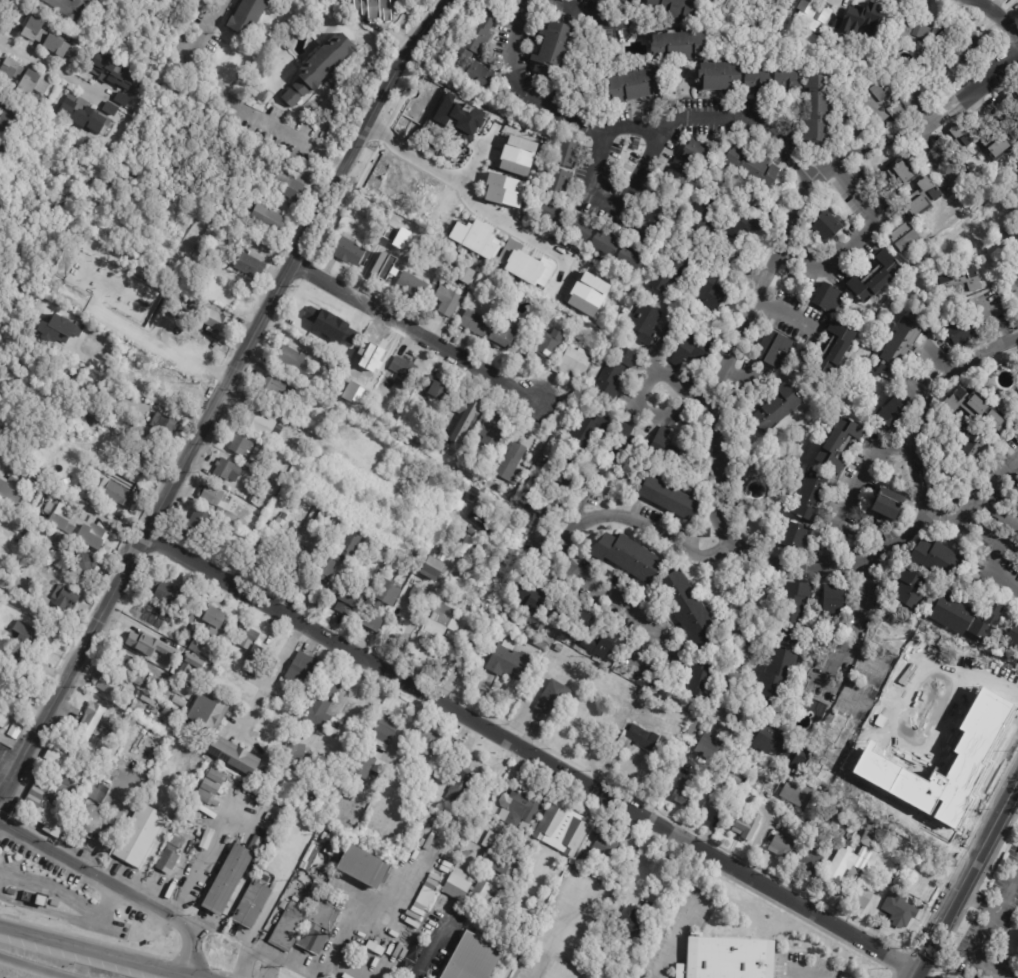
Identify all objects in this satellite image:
building: (343, 2)
building: (631, 2)
building: (68, 8)
building: (678, 8)
building: (377, 9)
road: (606, 10)
park: (762, 12)
road: (997, 14)
building: (248, 17)
building: (812, 17)
building: (860, 19)
building: (481, 33)
building: (911, 33)
building: (49, 36)
building: (846, 40)
building: (679, 47)
building: (555, 52)
building: (962, 57)
road: (48, 67)
building: (319, 69)
building: (473, 70)
building: (114, 74)
building: (22, 75)
building: (723, 78)
building: (760, 82)
building: (791, 83)
road: (524, 85)
building: (638, 87)
road: (210, 89)
building: (259, 94)
building: (121, 99)
building: (882, 104)
building: (1012, 107)
building: (109, 108)
building: (819, 111)
building: (82, 114)
building: (11, 116)
building: (458, 117)
building: (961, 137)
building: (636, 143)
building: (1, 144)
building: (1003, 150)
building: (697, 152)
building: (515, 155)
building: (569, 155)
building: (434, 156)
road: (477, 157)
road: (932, 157)
road: (646, 166)
building: (751, 168)
building: (898, 172)
building: (907, 172)
building: (680, 174)
building: (296, 180)
building: (560, 183)
road: (464, 188)
building: (504, 190)
building: (406, 193)
building: (925, 201)
building: (556, 215)
building: (269, 216)
building: (704, 216)
building: (748, 224)
building: (652, 225)
building: (827, 226)
building: (199, 228)
building: (582, 229)
building: (1014, 230)
building: (452, 231)
building: (400, 232)
road: (857, 235)
building: (417, 236)
building: (904, 237)
building: (608, 245)
road: (777, 246)
building: (258, 248)
building: (349, 253)
building: (634, 259)
building: (249, 264)
building: (524, 264)
building: (381, 270)
building: (670, 274)
building: (876, 279)
building: (962, 282)
building: (214, 287)
building: (412, 287)
building: (712, 295)
building: (829, 299)
building: (448, 302)
road: (784, 314)
building: (216, 319)
road: (994, 320)
building: (646, 324)
building: (475, 325)
building: (199, 326)
building: (311, 326)
building: (56, 329)
building: (338, 329)
road: (416, 331)
building: (961, 332)
building: (503, 339)
building: (548, 344)
building: (902, 346)
building: (693, 351)
building: (774, 351)
building: (832, 352)
building: (371, 354)
road: (938, 359)
building: (294, 365)
building: (574, 367)
building: (336, 368)
building: (403, 373)
building: (615, 375)
building: (182, 385)
road: (139, 388)
building: (276, 390)
building: (301, 391)
building: (436, 391)
road: (692, 394)
road: (218, 397)
building: (466, 409)
building: (777, 409)
building: (976, 410)
building: (893, 413)
building: (164, 423)
building: (262, 426)
building: (588, 431)
building: (491, 436)
building: (839, 442)
building: (971, 442)
building: (413, 443)
building: (240, 445)
building: (536, 449)
building: (626, 449)
building: (664, 452)
building: (105, 456)
building: (309, 458)
building: (144, 463)
building: (511, 464)
building: (228, 472)
building: (54, 476)
building: (283, 480)
building: (552, 484)
road: (987, 487)
building: (11, 488)
road: (853, 489)
building: (116, 493)
building: (212, 496)
building: (471, 496)
building: (812, 496)
building: (252, 500)
building: (668, 500)
building: (888, 502)
road: (76, 503)
road: (923, 506)
building: (748, 513)
road: (996, 515)
building: (227, 516)
building: (323, 518)
building: (282, 520)
building: (311, 521)
building: (481, 525)
building: (75, 526)
road: (970, 529)
building: (191, 531)
building: (707, 534)
building: (795, 536)
building: (59, 541)
building: (351, 547)
building: (467, 548)
building: (444, 557)
building: (628, 557)
building: (266, 558)
building: (940, 561)
building: (84, 563)
road: (565, 564)
building: (295, 571)
building: (327, 572)
building: (436, 573)
road: (1002, 578)
building: (909, 589)
building: (168, 594)
building: (413, 595)
building: (66, 598)
building: (832, 598)
building: (349, 601)
building: (428, 602)
building: (537, 602)
road: (46, 604)
building: (391, 609)
building: (690, 610)
building: (795, 611)
building: (147, 612)
building: (951, 613)
building: (190, 617)
building: (579, 620)
building: (215, 622)
building: (986, 623)
road: (407, 630)
building: (436, 630)
building: (133, 633)
building: (892, 633)
building: (245, 635)
road: (858, 635)
building: (593, 640)
building: (1010, 641)
building: (31, 644)
building: (147, 645)
building: (168, 645)
building: (540, 645)
building: (196, 646)
building: (559, 649)
building: (122, 662)
building: (191, 663)
building: (509, 663)
road: (868, 664)
road: (271, 672)
building: (305, 674)
building: (212, 675)
building: (700, 679)
building: (139, 681)
building: (778, 683)
building: (108, 685)
road: (835, 686)
building: (15, 689)
building: (183, 690)
building: (290, 697)
building: (554, 700)
building: (180, 701)
building: (323, 704)
building: (207, 713)
building: (944, 715)
building: (4, 719)
building: (966, 724)
building: (89, 725)
building: (385, 730)
building: (280, 732)
building: (128, 734)
building: (427, 740)
building: (639, 741)
building: (776, 741)
building: (56, 743)
building: (398, 743)
building: (707, 745)
building: (274, 746)
building: (836, 748)
road: (529, 751)
building: (233, 755)
building: (297, 755)
building: (802, 759)
building: (697, 764)
building: (397, 765)
building: (362, 766)
building: (109, 775)
building: (733, 776)
building: (433, 779)
building: (212, 781)
building: (301, 781)
building: (53, 788)
building: (469, 789)
building: (99, 792)
building: (682, 792)
building: (799, 794)
building: (204, 797)
building: (522, 807)
building: (713, 807)
building: (882, 807)
building: (910, 814)
building: (844, 817)
road: (116, 819)
building: (91, 820)
building: (205, 821)
building: (748, 827)
building: (561, 828)
building: (139, 836)
building: (870, 844)
building: (606, 845)
building: (782, 847)
road: (154, 850)
building: (467, 854)
building: (501, 854)
building: (170, 855)
road: (201, 858)
building: (810, 860)
building: (580, 863)
building: (462, 865)
building: (364, 866)
building: (266, 867)
building: (841, 868)
building: (231, 877)
building: (518, 877)
road: (964, 879)
road: (117, 885)
building: (468, 890)
building: (12, 892)
building: (862, 894)
building: (426, 897)
building: (34, 900)
road: (381, 901)
building: (252, 906)
road: (996, 908)
building: (901, 912)
building: (632, 922)
building: (305, 928)
road: (676, 942)
road: (434, 946)
building: (416, 951)
road: (95, 952)
road: (248, 953)
road: (972, 953)
building: (727, 958)
building: (474, 959)
road: (285, 961)
road: (29, 969)
road: (342, 969)
building: (406, 969)
building: (640, 976)

